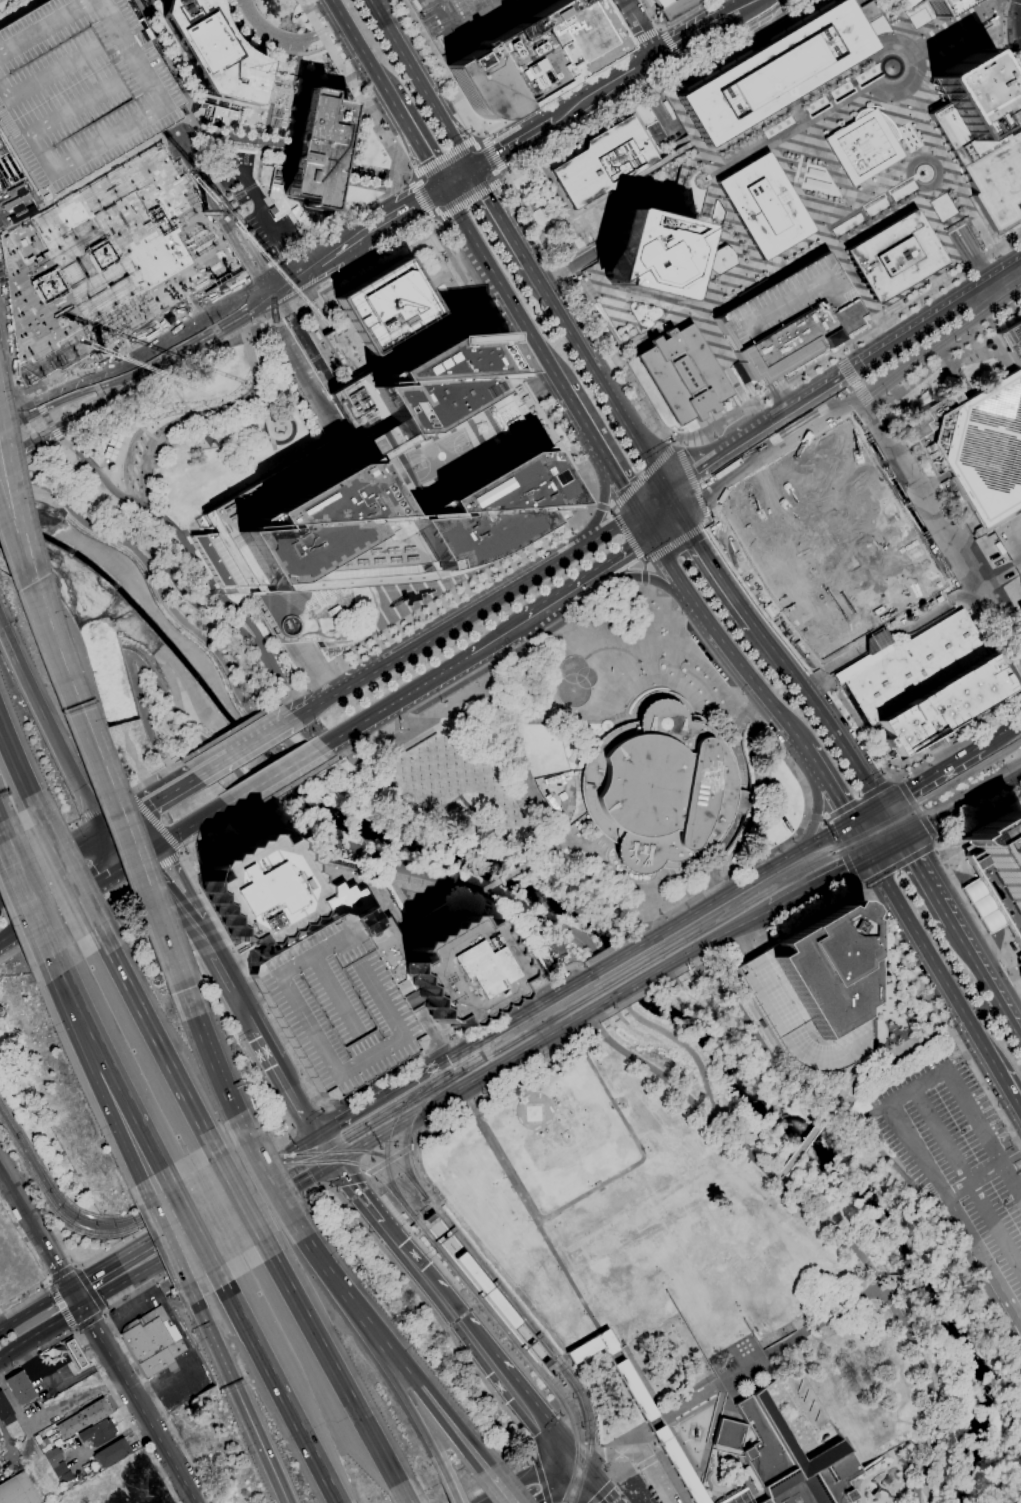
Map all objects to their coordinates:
road: (1020, 0)
road: (866, 1)
building: (662, 3)
building: (942, 6)
building: (677, 8)
road: (743, 8)
road: (670, 20)
road: (618, 21)
parking lot: (471, 22)
road: (471, 25)
road: (232, 26)
road: (661, 27)
road: (643, 28)
road: (647, 35)
road: (695, 36)
road: (287, 37)
road: (959, 39)
road: (1005, 40)
road: (633, 42)
road: (1003, 45)
road: (268, 46)
road: (673, 46)
building: (214, 50)
road: (361, 51)
building: (534, 57)
road: (953, 64)
road: (688, 68)
road: (638, 69)
building: (774, 72)
road: (194, 76)
road: (426, 83)
road: (354, 87)
building: (79, 88)
parking garage: (79, 88)
road: (583, 102)
building: (225, 114)
road: (269, 114)
road: (494, 123)
road: (479, 127)
road: (1020, 129)
building: (982, 136)
road: (183, 137)
road: (246, 139)
road: (512, 143)
road: (418, 144)
building: (863, 147)
building: (316, 148)
road: (490, 155)
road: (444, 156)
building: (604, 162)
traffic signals: (475, 167)
road: (369, 171)
road: (406, 176)
road: (459, 177)
road: (505, 178)
traffic signals: (443, 188)
road: (255, 191)
road: (421, 199)
road: (470, 199)
building: (277, 200)
road: (225, 204)
road: (379, 204)
building: (764, 206)
road: (406, 210)
road: (502, 215)
road: (422, 221)
road: (435, 223)
building: (648, 255)
building: (894, 256)
road: (323, 258)
building: (720, 260)
road: (500, 290)
flagpole: (447, 298)
road: (207, 303)
building: (381, 319)
building: (791, 320)
road: (988, 321)
road: (205, 327)
road: (502, 331)
road: (601, 335)
road: (307, 337)
building: (1012, 342)
building: (682, 373)
road: (600, 376)
road: (86, 384)
road: (21, 390)
road: (35, 395)
road: (97, 403)
road: (2, 409)
road: (20, 416)
road: (49, 417)
road: (198, 420)
road: (703, 427)
park: (194, 437)
road: (64, 439)
road: (677, 441)
road: (35, 443)
road: (564, 446)
building: (113, 447)
road: (598, 450)
road: (42, 453)
road: (689, 454)
park: (434, 456)
road: (7, 460)
building: (979, 471)
road: (10, 472)
road: (690, 473)
road: (9, 476)
road: (644, 476)
road: (689, 476)
building: (384, 488)
traffic signals: (669, 489)
road: (115, 492)
road: (13, 496)
road: (606, 499)
road: (592, 506)
road: (71, 507)
road: (603, 508)
traffic signals: (635, 511)
road: (694, 511)
road: (705, 513)
traffic signals: (687, 520)
road: (669, 530)
road: (628, 536)
building: (834, 536)
road: (13, 538)
traffic signals: (652, 541)
road: (677, 542)
road: (711, 557)
road: (621, 560)
road: (645, 572)
road: (645, 577)
road: (644, 584)
road: (510, 588)
road: (578, 588)
road: (222, 598)
road: (972, 603)
road: (546, 608)
building: (1020, 608)
road: (221, 617)
road: (1, 624)
traffic signals: (2, 627)
road: (48, 632)
road: (713, 633)
road: (501, 636)
road: (877, 643)
road: (86, 656)
road: (844, 661)
road: (317, 665)
road: (230, 672)
road: (359, 677)
road: (813, 678)
road: (429, 681)
building: (926, 685)
road: (738, 687)
road: (287, 691)
road: (745, 703)
road: (310, 705)
flagpole: (857, 705)
road: (823, 711)
road: (410, 725)
road: (350, 729)
flagpole: (400, 729)
road: (51, 730)
road: (230, 732)
road: (1002, 733)
road: (257, 737)
flagpole: (436, 742)
flagpole: (426, 743)
flagpole: (445, 749)
railway: (1017, 749)
flagpole: (436, 750)
flagpole: (427, 751)
flagpole: (419, 752)
flagpole: (409, 753)
road: (806, 754)
road: (350, 756)
flagpole: (455, 757)
flagpole: (438, 759)
flagpole: (445, 759)
flagpole: (427, 760)
flagpole: (419, 761)
flagpole: (395, 762)
flagpole: (401, 762)
flagpole: (409, 762)
road: (215, 763)
flagpole: (464, 765)
flagpole: (456, 766)
flagpole: (447, 767)
flagpole: (438, 768)
flagpole: (428, 769)
flagpole: (411, 770)
flagpole: (420, 770)
flagpole: (395, 771)
flagpole: (402, 771)
flagpole: (492, 771)
road: (20, 772)
flagpole: (483, 772)
flagpole: (475, 773)
road: (934, 773)
road: (276, 774)
flagpole: (466, 774)
flagpole: (456, 775)
road: (903, 775)
flagpole: (448, 776)
flagpole: (439, 777)
flagpole: (431, 778)
road: (897, 778)
road: (150, 779)
flagpole: (404, 779)
flagpole: (421, 779)
flagpole: (395, 780)
flagpole: (412, 780)
flagpole: (492, 780)
flagpole: (475, 782)
flagpole: (484, 782)
flagpole: (457, 784)
flagpole: (466, 784)
flagpole: (448, 785)
road: (289, 786)
flagpole: (440, 786)
building: (661, 786)
flagpole: (431, 787)
flagpole: (422, 788)
flagpole: (413, 789)
flagpole: (503, 789)
flagpole: (485, 790)
flagpole: (494, 790)
road: (131, 792)
flagpole: (459, 792)
road: (829, 792)
flagpole: (449, 794)
flagpole: (440, 795)
flagpole: (432, 796)
flagpole: (422, 797)
flagpole: (504, 798)
building: (554, 798)
road: (117, 799)
road: (153, 799)
road: (756, 799)
road: (860, 799)
flagpole: (495, 800)
traffic signals: (886, 803)
flagpole: (514, 806)
road: (964, 806)
flagpole: (496, 807)
flagpole: (505, 807)
road: (916, 807)
road: (818, 810)
road: (548, 812)
road: (93, 814)
flagpole: (506, 815)
flagpole: (514, 815)
road: (808, 816)
road: (818, 818)
road: (896, 819)
road: (156, 823)
flagpole: (506, 825)
flagpole: (515, 825)
traffic signals: (849, 825)
road: (190, 828)
road: (840, 829)
traffic signals: (105, 831)
flagpole: (525, 832)
flagpole: (516, 834)
traffic signals: (907, 837)
road: (938, 838)
road: (1, 839)
road: (128, 839)
road: (858, 841)
flagpole: (526, 842)
flagpole: (517, 843)
road: (124, 844)
railway: (839, 844)
road: (937, 844)
road: (39, 846)
road: (887, 847)
road: (841, 851)
road: (181, 852)
road: (544, 852)
railway: (839, 853)
traffic signals: (144, 857)
traffic signals: (868, 858)
road: (164, 863)
road: (899, 864)
road: (52, 865)
road: (954, 872)
road: (147, 873)
road: (416, 873)
road: (69, 874)
building: (997, 875)
road: (110, 877)
road: (932, 878)
road: (186, 882)
road: (713, 883)
road: (819, 883)
road: (858, 883)
road: (492, 884)
road: (864, 885)
flagpole: (961, 889)
road: (171, 890)
building: (259, 891)
road: (721, 897)
road: (27, 899)
road: (422, 900)
road: (457, 905)
road: (392, 907)
railway: (721, 914)
road: (45, 915)
building: (364, 921)
river: (588, 923)
road: (888, 928)
road: (180, 930)
road: (540, 933)
flagpole: (989, 936)
road: (7, 937)
road: (719, 937)
road: (206, 938)
road: (585, 940)
park: (607, 944)
road: (613, 947)
flagpole: (524, 952)
road: (621, 956)
building: (393, 961)
flagpole: (532, 964)
building: (1019, 964)
road: (57, 965)
railway: (628, 965)
road: (933, 966)
road: (698, 967)
building: (458, 971)
railway: (632, 972)
road: (658, 972)
road: (702, 972)
road: (988, 974)
road: (227, 976)
flagpole: (540, 976)
building: (1020, 979)
road: (638, 982)
road: (669, 986)
road: (871, 988)
building: (816, 989)
road: (673, 990)
road: (644, 991)
building: (335, 1006)
parking lot: (335, 1006)
road: (628, 1008)
road: (619, 1014)
road: (632, 1014)
road: (604, 1015)
road: (609, 1019)
road: (623, 1020)
railway: (524, 1026)
road: (599, 1026)
road: (613, 1026)
road: (258, 1030)
railway: (533, 1030)
road: (493, 1032)
road: (604, 1032)
road: (153, 1034)
road: (883, 1054)
road: (211, 1056)
road: (646, 1066)
road: (112, 1070)
road: (487, 1070)
road: (284, 1076)
road: (94, 1080)
road: (304, 1082)
road: (1009, 1095)
road: (376, 1101)
road: (833, 1106)
road: (462, 1107)
road: (322, 1109)
road: (304, 1112)
road: (551, 1115)
road: (541, 1121)
road: (307, 1122)
road: (338, 1122)
railway: (409, 1124)
traffic signals: (317, 1134)
railway: (389, 1134)
road: (294, 1135)
road: (292, 1138)
road: (873, 1138)
road: (911, 1139)
road: (806, 1141)
road: (283, 1143)
road: (415, 1144)
road: (326, 1147)
railway: (367, 1151)
road: (640, 1151)
road: (350, 1152)
road: (1011, 1157)
road: (309, 1160)
road: (388, 1160)
parking lot: (960, 1160)
traffic signals: (334, 1162)
railway: (362, 1165)
road: (779, 1176)
railway: (200, 1177)
road: (968, 1178)
road: (1011, 1179)
road: (973, 1180)
road: (269, 1181)
road: (348, 1181)
railway: (209, 1182)
road: (324, 1184)
road: (235, 1185)
road: (331, 1186)
road: (307, 1192)
road: (357, 1192)
road: (275, 1195)
road: (240, 1198)
road: (21, 1201)
building: (429, 1218)
railway: (440, 1220)
road: (535, 1221)
road: (193, 1226)
building: (413, 1227)
road: (168, 1241)
road: (109, 1249)
road: (408, 1253)
road: (56, 1262)
road: (112, 1262)
road: (39, 1263)
road: (73, 1266)
road: (77, 1267)
road: (149, 1267)
road: (326, 1268)
road: (61, 1272)
road: (50, 1279)
road: (50, 1281)
traffic signals: (70, 1287)
road: (90, 1289)
road: (76, 1296)
building: (497, 1300)
road: (61, 1305)
traffic signals: (82, 1306)
road: (34, 1308)
road: (105, 1310)
road: (104, 1313)
road: (90, 1321)
road: (90, 1321)
road: (74, 1329)
road: (40, 1330)
road: (77, 1330)
road: (96, 1332)
railway: (541, 1337)
building: (153, 1342)
road: (214, 1342)
railway: (523, 1348)
building: (75, 1353)
road: (613, 1353)
road: (489, 1356)
road: (747, 1367)
road: (104, 1377)
road: (339, 1378)
road: (423, 1378)
road: (59, 1384)
road: (414, 1384)
building: (21, 1388)
road: (399, 1388)
road: (280, 1394)
building: (642, 1408)
building: (5, 1410)
building: (84, 1417)
road: (154, 1430)
building: (98, 1432)
building: (0, 1437)
road: (710, 1437)
road: (554, 1441)
road: (260, 1442)
building: (112, 1453)
road: (635, 1453)
road: (663, 1453)
traffic signals: (562, 1455)
road: (567, 1456)
building: (784, 1457)
traffic signals: (573, 1458)
road: (535, 1459)
road: (647, 1462)
road: (679, 1463)
building: (58, 1465)
road: (625, 1474)
road: (596, 1478)
road: (526, 1479)
traffic signals: (568, 1480)
road: (542, 1481)
road: (569, 1481)
road: (507, 1483)
road: (562, 1485)
road: (491, 1487)
building: (18, 1490)
road: (452, 1491)
road: (603, 1493)
road: (407, 1502)

